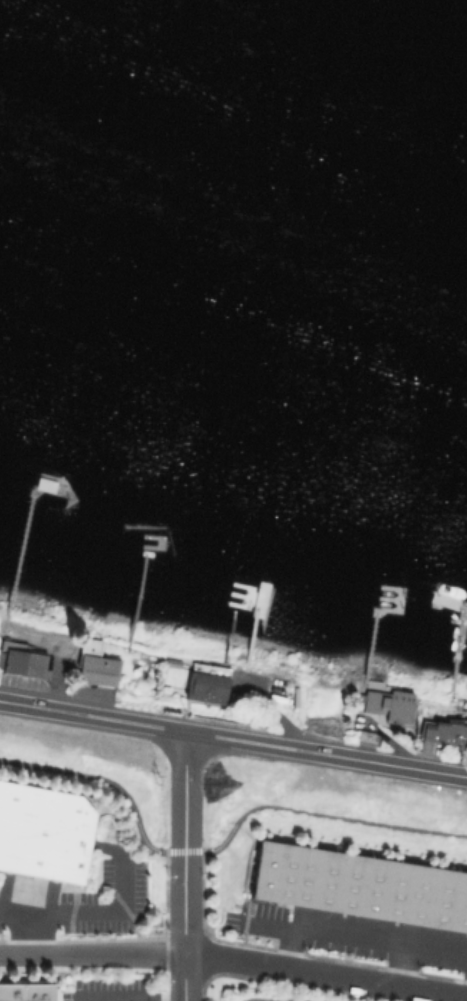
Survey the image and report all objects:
building: (23, 657)
building: (98, 665)
building: (210, 687)
building: (392, 703)
building: (448, 730)
road: (233, 739)
road: (185, 791)
building: (47, 835)
road: (221, 844)
building: (362, 883)
road: (90, 913)
road: (185, 926)
road: (33, 933)
road: (363, 936)
road: (102, 953)
road: (399, 964)
road: (335, 975)
building: (26, 991)
road: (466, 993)
road: (157, 997)
road: (105, 998)
road: (130, 999)

